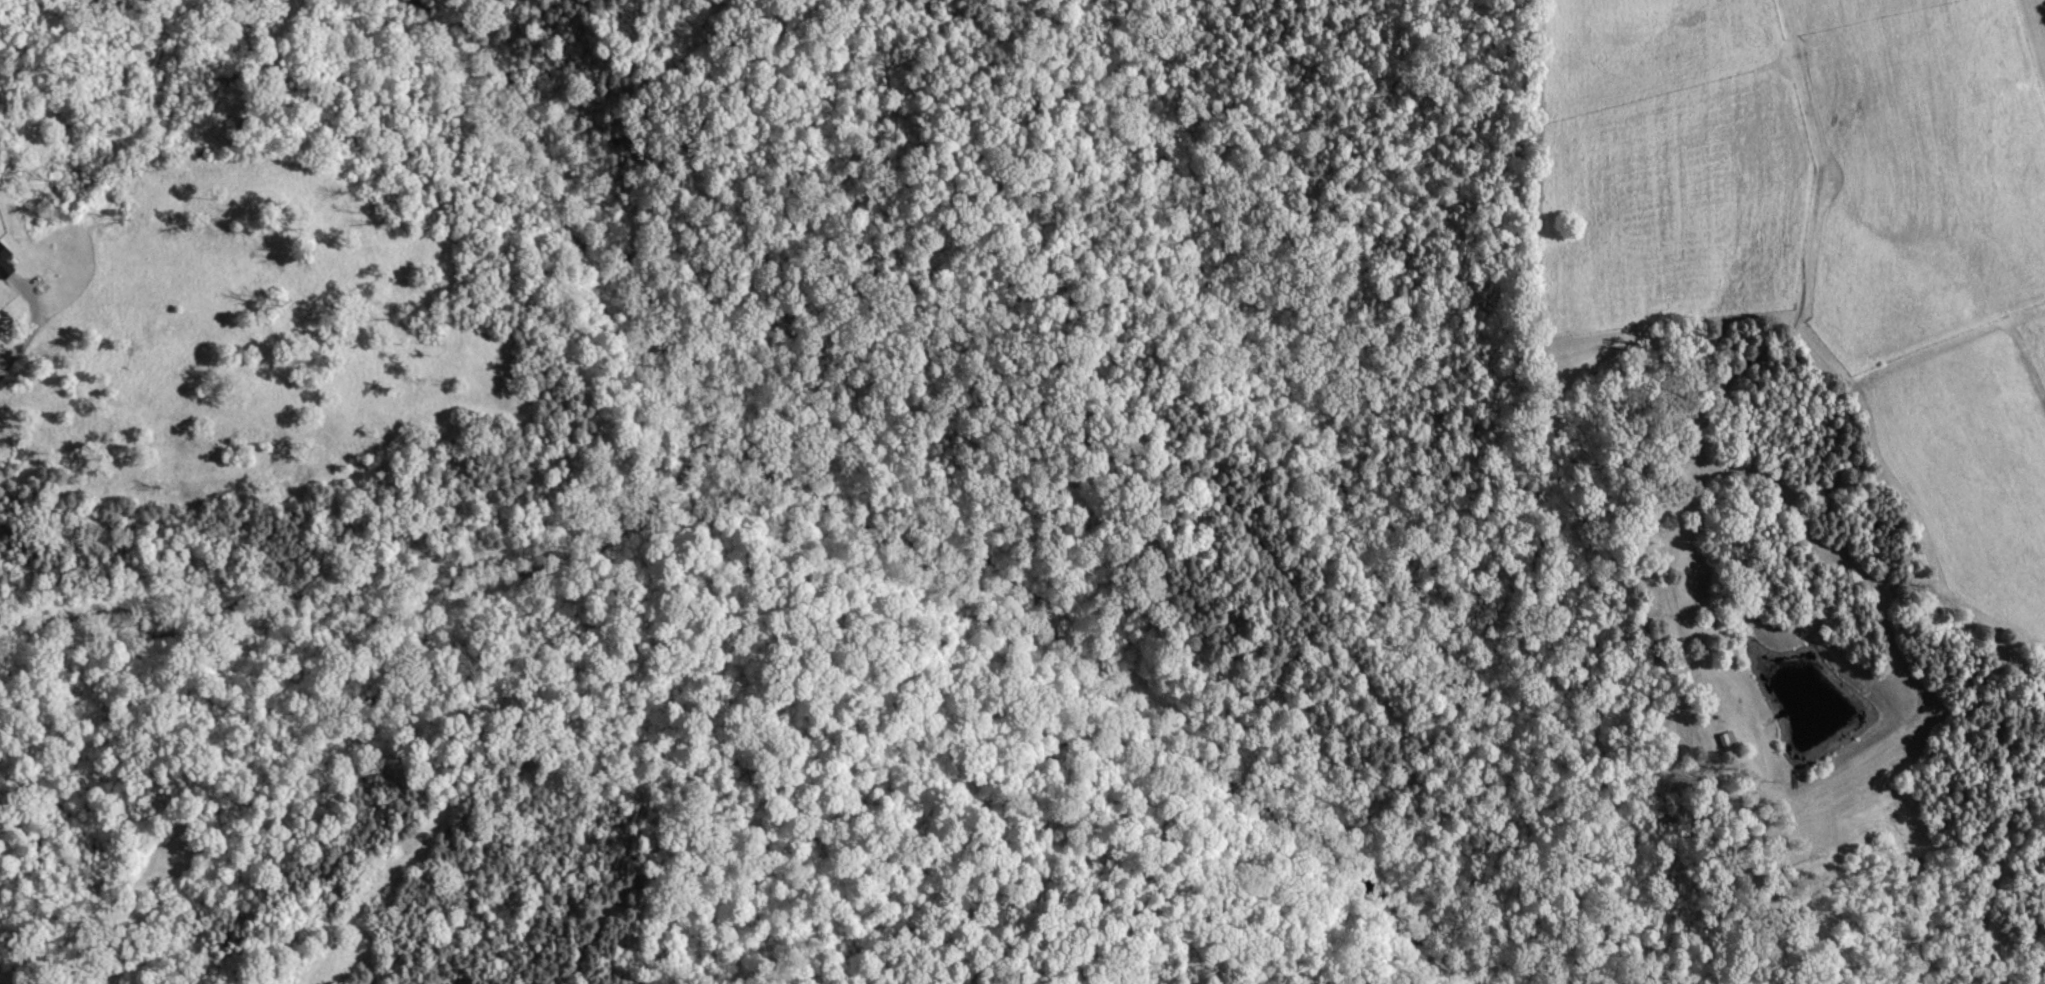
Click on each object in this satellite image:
building: (7, 260)
road: (28, 332)
road: (1769, 354)

